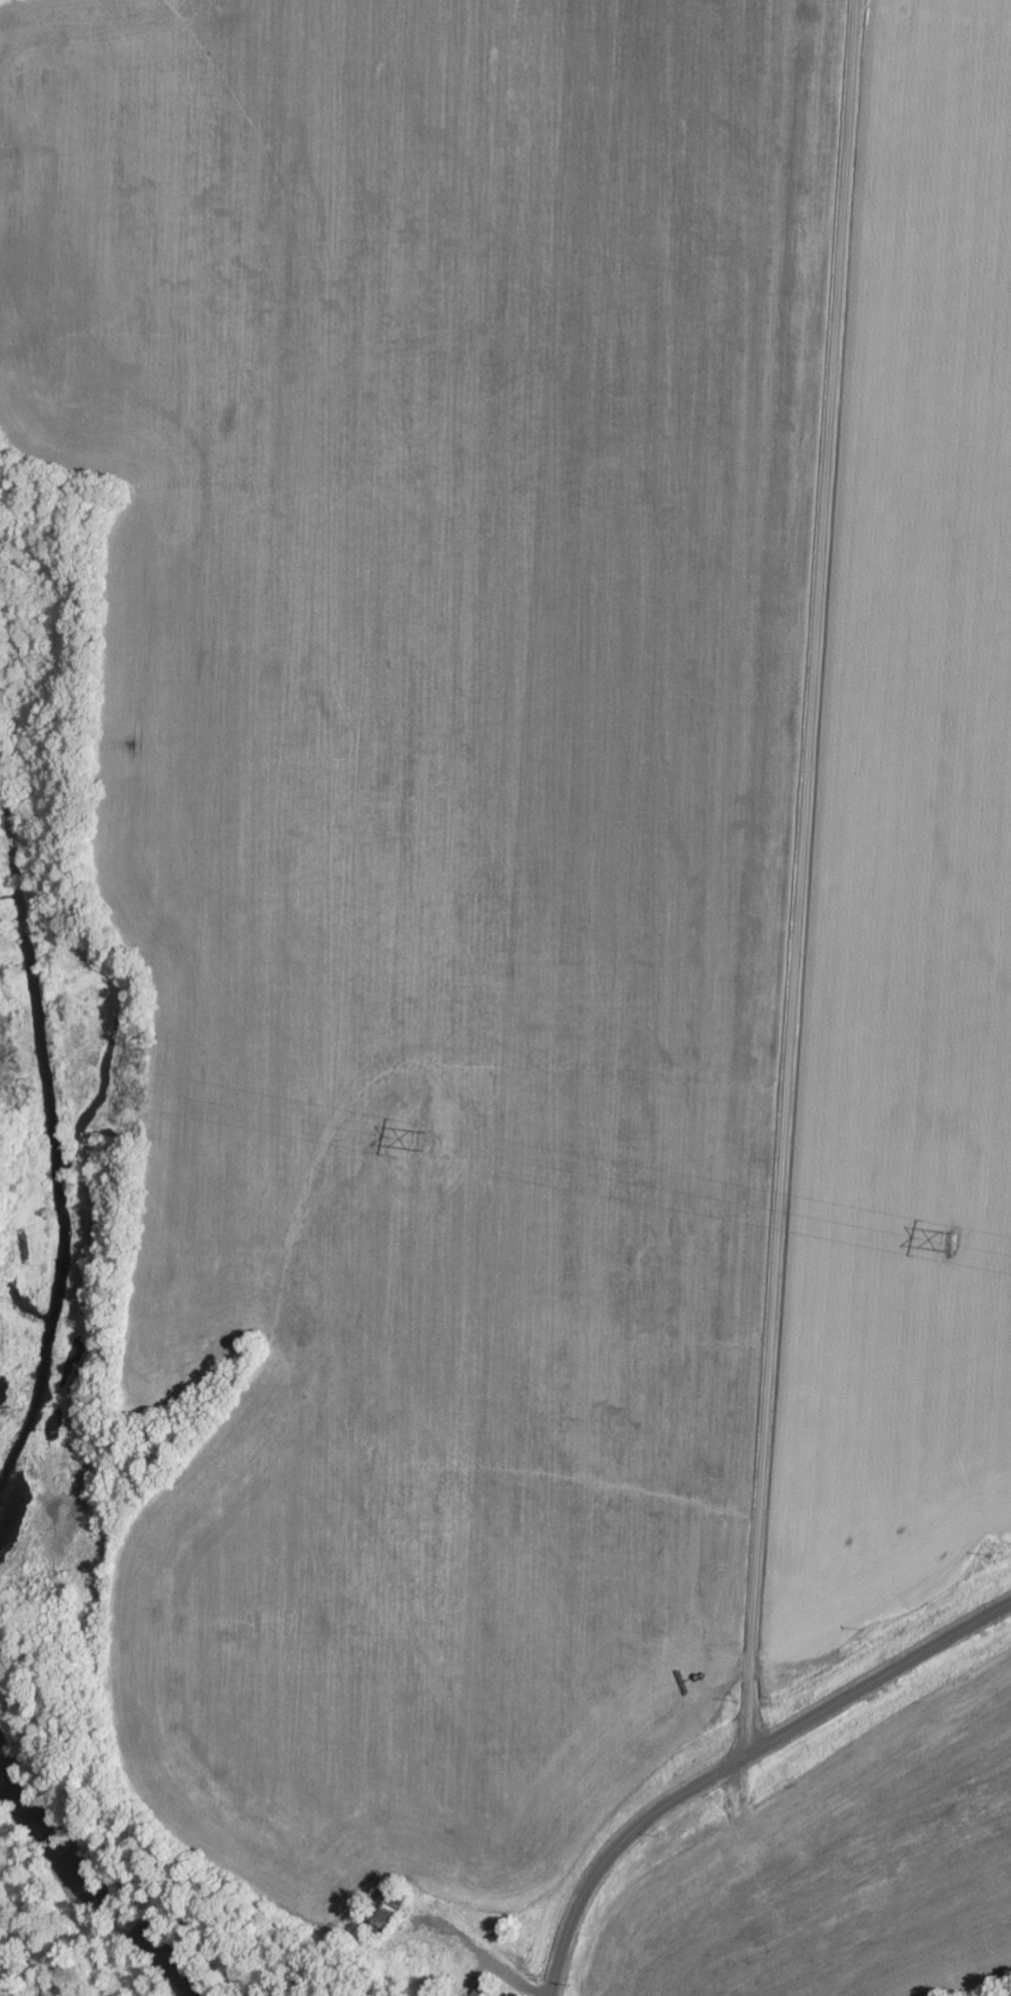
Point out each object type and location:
road: (801, 878)
crop: (909, 884)
power tower: (422, 1140)
power tower: (952, 1239)
road: (738, 1760)
river: (91, 1874)

